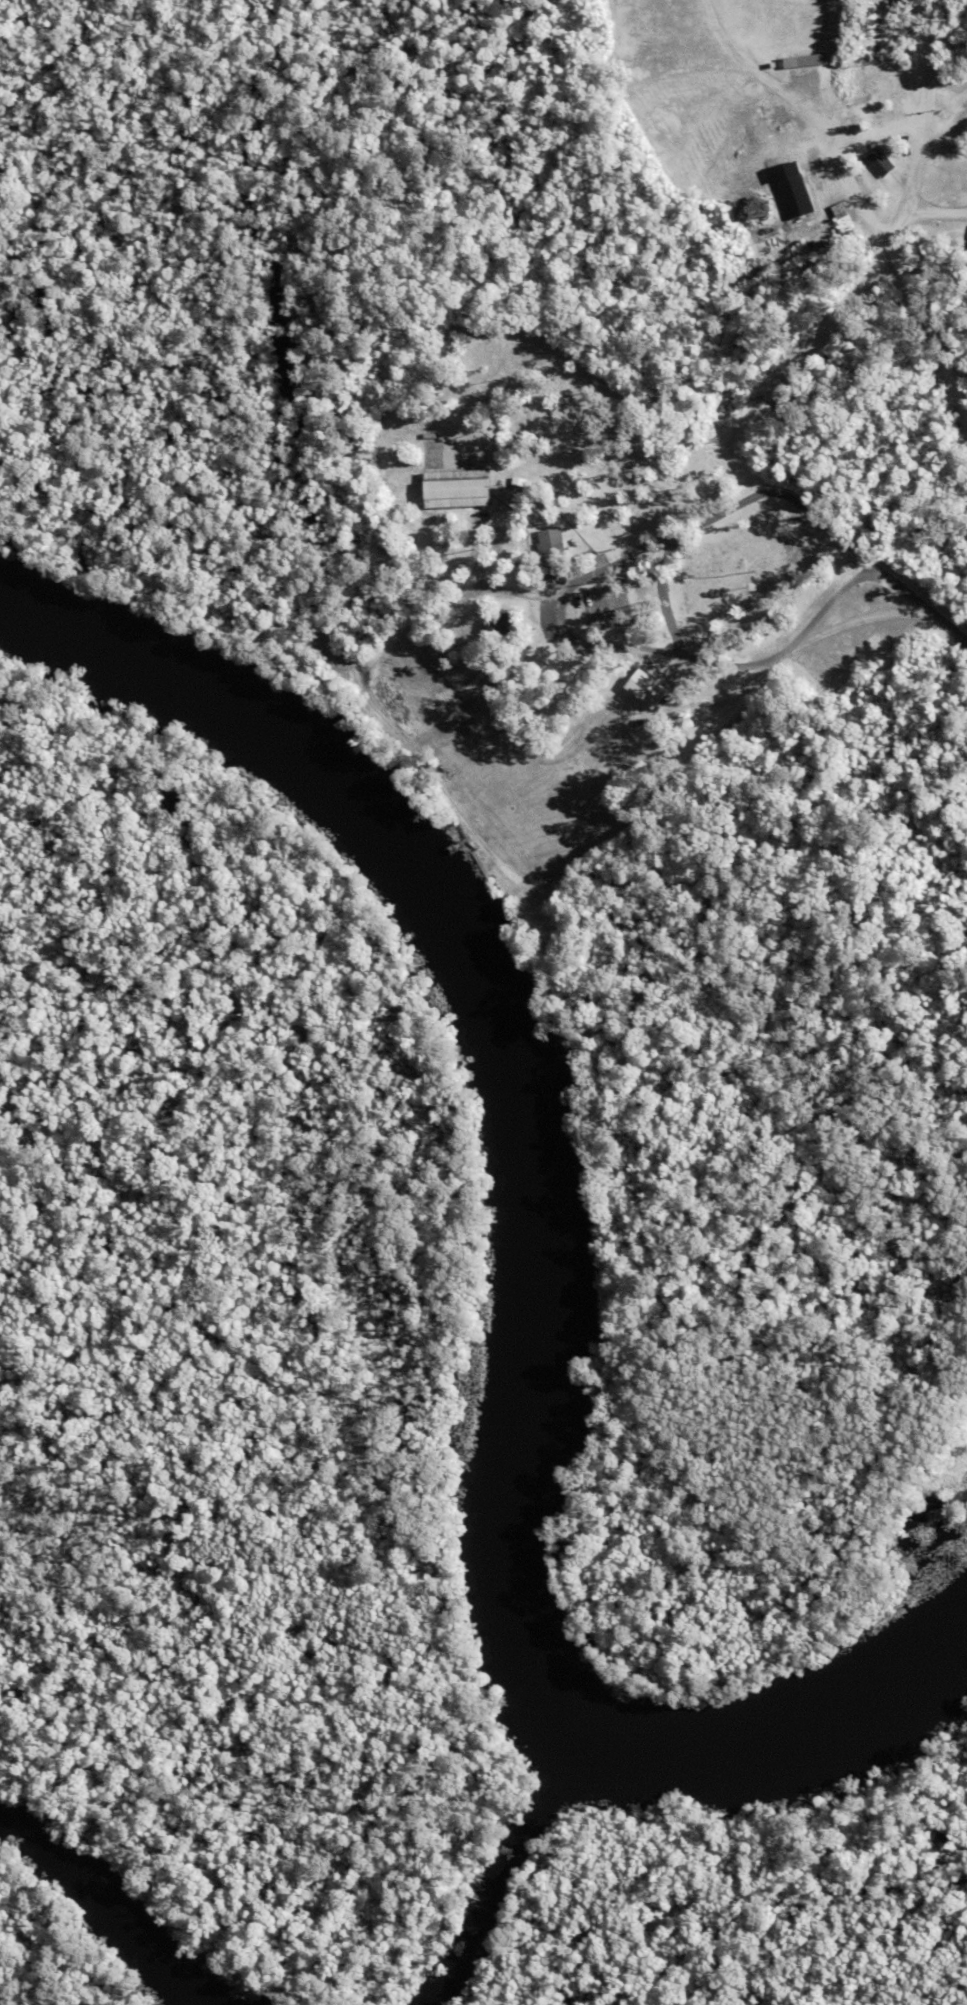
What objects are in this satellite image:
building: (807, 59)
road: (923, 125)
building: (882, 161)
road: (871, 220)
building: (430, 436)
building: (520, 480)
building: (459, 488)
building: (555, 555)
road: (867, 568)
building: (501, 624)
building: (647, 688)
road: (391, 728)
river: (555, 1229)

